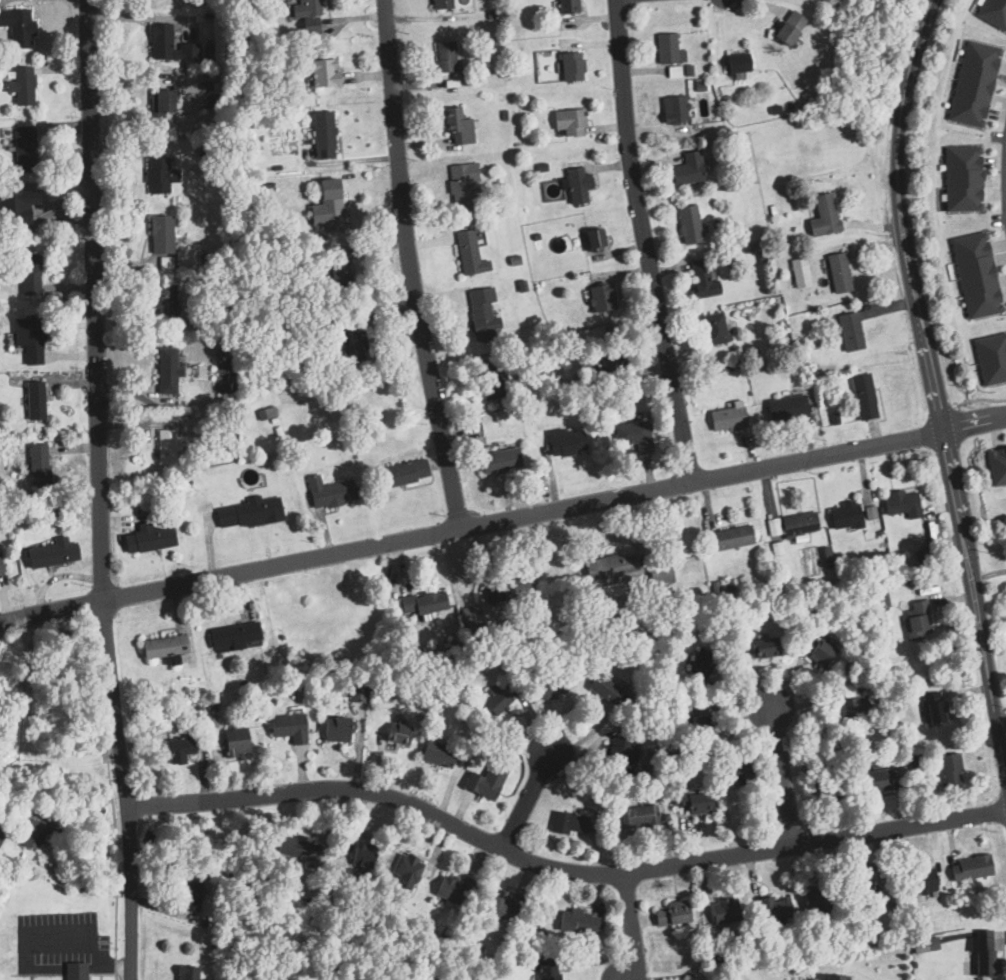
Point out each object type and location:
building: (441, 4)
building: (568, 6)
building: (305, 13)
building: (994, 13)
building: (17, 27)
building: (788, 27)
building: (168, 45)
building: (666, 48)
building: (444, 56)
building: (736, 63)
building: (571, 66)
building: (323, 72)
building: (673, 72)
building: (974, 84)
building: (21, 85)
building: (162, 101)
building: (674, 109)
building: (569, 121)
building: (456, 125)
building: (323, 135)
building: (23, 149)
building: (687, 169)
building: (159, 176)
building: (964, 177)
building: (577, 185)
building: (461, 186)
building: (326, 205)
road: (898, 215)
building: (824, 216)
building: (689, 224)
building: (160, 234)
building: (593, 240)
road: (644, 241)
building: (469, 254)
road: (405, 266)
building: (799, 272)
building: (838, 273)
building: (29, 274)
building: (338, 274)
building: (976, 274)
building: (702, 280)
building: (601, 298)
building: (164, 301)
building: (482, 314)
building: (712, 329)
building: (849, 332)
building: (32, 342)
building: (351, 345)
building: (991, 357)
building: (614, 365)
building: (167, 371)
building: (490, 382)
building: (862, 396)
building: (34, 401)
building: (787, 408)
building: (266, 412)
building: (727, 418)
building: (634, 435)
building: (565, 442)
building: (165, 447)
building: (499, 460)
building: (997, 463)
building: (37, 465)
building: (402, 473)
road: (100, 490)
building: (328, 492)
building: (902, 504)
building: (248, 513)
building: (869, 513)
building: (845, 516)
road: (503, 520)
building: (799, 524)
building: (773, 526)
building: (148, 538)
building: (729, 538)
building: (51, 554)
building: (610, 565)
building: (0, 572)
road: (986, 574)
building: (504, 588)
building: (422, 603)
building: (470, 615)
building: (917, 620)
road: (46, 622)
road: (975, 623)
building: (233, 636)
building: (162, 645)
building: (765, 647)
building: (820, 653)
building: (702, 662)
building: (550, 686)
building: (605, 687)
building: (358, 693)
building: (495, 700)
building: (848, 705)
building: (932, 707)
road: (999, 717)
building: (698, 725)
building: (287, 726)
building: (336, 729)
building: (397, 733)
building: (235, 741)
building: (178, 749)
building: (621, 752)
building: (436, 753)
building: (949, 769)
building: (737, 772)
road: (780, 779)
building: (485, 780)
building: (874, 781)
building: (825, 787)
road: (525, 802)
building: (693, 802)
building: (638, 816)
road: (1005, 817)
building: (568, 822)
road: (103, 827)
building: (31, 833)
building: (1, 834)
building: (296, 846)
road: (91, 849)
building: (363, 854)
building: (970, 867)
building: (406, 872)
road: (558, 873)
building: (921, 880)
building: (860, 887)
building: (453, 889)
building: (189, 895)
building: (818, 897)
building: (503, 905)
building: (774, 907)
building: (724, 910)
building: (670, 913)
building: (578, 920)
road: (627, 926)
road: (85, 938)
building: (924, 945)
building: (985, 953)
building: (549, 970)
building: (75, 971)
building: (187, 973)
building: (836, 977)

